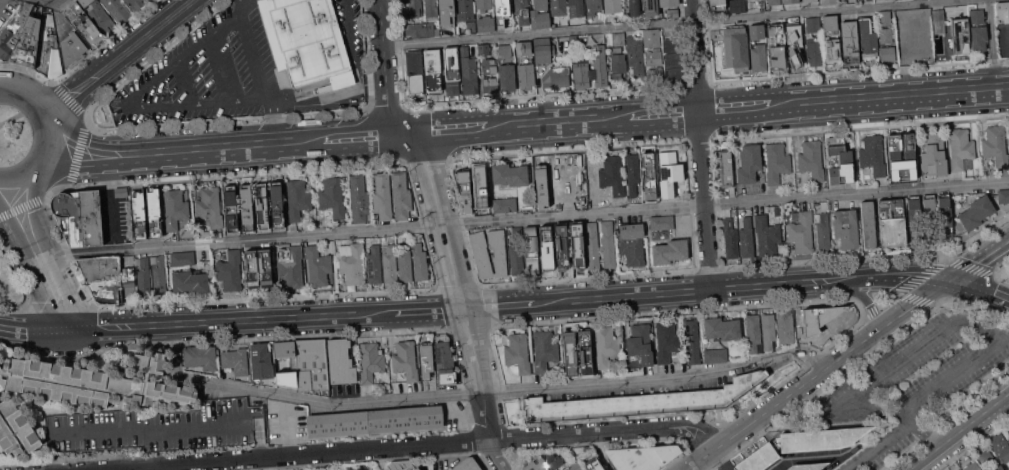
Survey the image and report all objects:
building: (809, 0)
road: (48, 1)
building: (791, 1)
road: (1, 2)
building: (774, 2)
building: (829, 2)
building: (135, 3)
building: (669, 3)
building: (717, 4)
building: (484, 5)
building: (578, 6)
building: (593, 6)
building: (613, 6)
building: (737, 6)
road: (239, 7)
building: (558, 7)
building: (633, 7)
building: (650, 7)
building: (118, 9)
building: (412, 9)
building: (431, 10)
building: (465, 10)
building: (522, 11)
building: (1003, 11)
building: (447, 12)
building: (502, 12)
building: (672, 13)
building: (540, 14)
building: (100, 16)
building: (885, 18)
road: (672, 21)
building: (938, 22)
building: (486, 23)
building: (84, 25)
building: (813, 25)
building: (830, 25)
building: (471, 27)
building: (978, 29)
building: (14, 30)
building: (420, 30)
building: (756, 31)
building: (960, 34)
building: (886, 35)
building: (913, 35)
building: (652, 38)
building: (616, 39)
building: (868, 39)
building: (28, 40)
building: (307, 41)
building: (850, 42)
building: (795, 43)
road: (992, 43)
building: (672, 44)
building: (524, 48)
building: (737, 48)
building: (72, 49)
building: (484, 49)
building: (48, 50)
building: (504, 50)
building: (832, 50)
building: (543, 51)
road: (354, 52)
building: (814, 52)
building: (635, 54)
building: (888, 54)
road: (253, 56)
building: (654, 56)
building: (777, 57)
building: (759, 58)
road: (117, 59)
building: (673, 60)
building: (618, 63)
building: (489, 65)
building: (600, 65)
road: (222, 67)
road: (384, 67)
parking lot: (233, 71)
building: (433, 71)
building: (451, 71)
building: (414, 72)
building: (469, 72)
building: (581, 72)
building: (674, 74)
building: (655, 75)
building: (526, 76)
building: (556, 77)
building: (507, 78)
road: (183, 82)
building: (489, 85)
road: (317, 97)
road: (128, 102)
road: (37, 108)
road: (712, 108)
road: (17, 115)
road: (274, 119)
park: (12, 133)
road: (699, 144)
building: (996, 145)
road: (230, 146)
building: (961, 148)
building: (901, 152)
building: (933, 154)
building: (873, 155)
building: (811, 160)
building: (840, 160)
building: (777, 162)
building: (749, 163)
building: (725, 165)
road: (33, 172)
building: (669, 172)
building: (510, 174)
building: (612, 175)
building: (632, 176)
building: (649, 177)
building: (578, 178)
building: (551, 180)
road: (3, 185)
building: (464, 185)
building: (481, 190)
building: (120, 192)
building: (401, 195)
building: (1003, 195)
building: (382, 196)
building: (332, 197)
building: (359, 198)
building: (298, 199)
building: (276, 204)
building: (505, 205)
building: (210, 206)
building: (261, 206)
building: (246, 207)
building: (231, 208)
building: (175, 209)
building: (154, 212)
building: (975, 212)
building: (139, 213)
road: (525, 217)
building: (945, 217)
building: (80, 218)
road: (441, 218)
building: (930, 218)
building: (915, 220)
building: (662, 222)
building: (892, 222)
building: (868, 224)
building: (846, 228)
building: (801, 232)
building: (823, 232)
building: (187, 233)
building: (767, 235)
building: (746, 238)
building: (730, 239)
building: (632, 243)
building: (562, 244)
building: (577, 244)
building: (608, 244)
building: (592, 246)
building: (547, 249)
building: (531, 250)
building: (670, 251)
building: (516, 252)
road: (39, 255)
building: (182, 259)
building: (482, 260)
road: (979, 261)
building: (352, 262)
building: (420, 262)
building: (390, 263)
building: (405, 263)
building: (374, 265)
building: (1, 266)
building: (290, 266)
building: (318, 266)
building: (230, 271)
building: (257, 271)
building: (159, 275)
building: (102, 278)
building: (144, 278)
traffic signals: (948, 279)
building: (128, 280)
building: (190, 282)
road: (706, 288)
road: (978, 288)
road: (863, 298)
road: (265, 317)
building: (722, 328)
building: (786, 328)
road: (33, 329)
building: (768, 331)
building: (753, 333)
road: (935, 334)
building: (667, 341)
building: (692, 341)
building: (641, 343)
building: (606, 345)
building: (544, 351)
building: (518, 353)
building: (716, 355)
building: (201, 357)
building: (586, 359)
building: (406, 360)
building: (426, 360)
building: (570, 360)
building: (236, 361)
building: (261, 361)
building: (340, 362)
building: (371, 362)
building: (293, 364)
building: (312, 364)
building: (445, 364)
road: (477, 372)
road: (815, 372)
parking lot: (914, 381)
building: (92, 382)
road: (476, 392)
building: (642, 401)
road: (983, 410)
building: (375, 421)
road: (699, 425)
building: (157, 427)
building: (16, 429)
road: (689, 437)
building: (821, 438)
road: (889, 441)
road: (393, 447)
building: (1000, 447)
road: (931, 450)
road: (494, 455)
building: (643, 457)
road: (803, 457)
building: (985, 457)
building: (759, 459)
road: (721, 460)
road: (309, 463)
building: (545, 463)
building: (399, 464)
building: (467, 464)
building: (594, 465)
building: (575, 466)
building: (807, 466)
building: (972, 466)
building: (417, 468)
building: (998, 468)
building: (960, 469)

